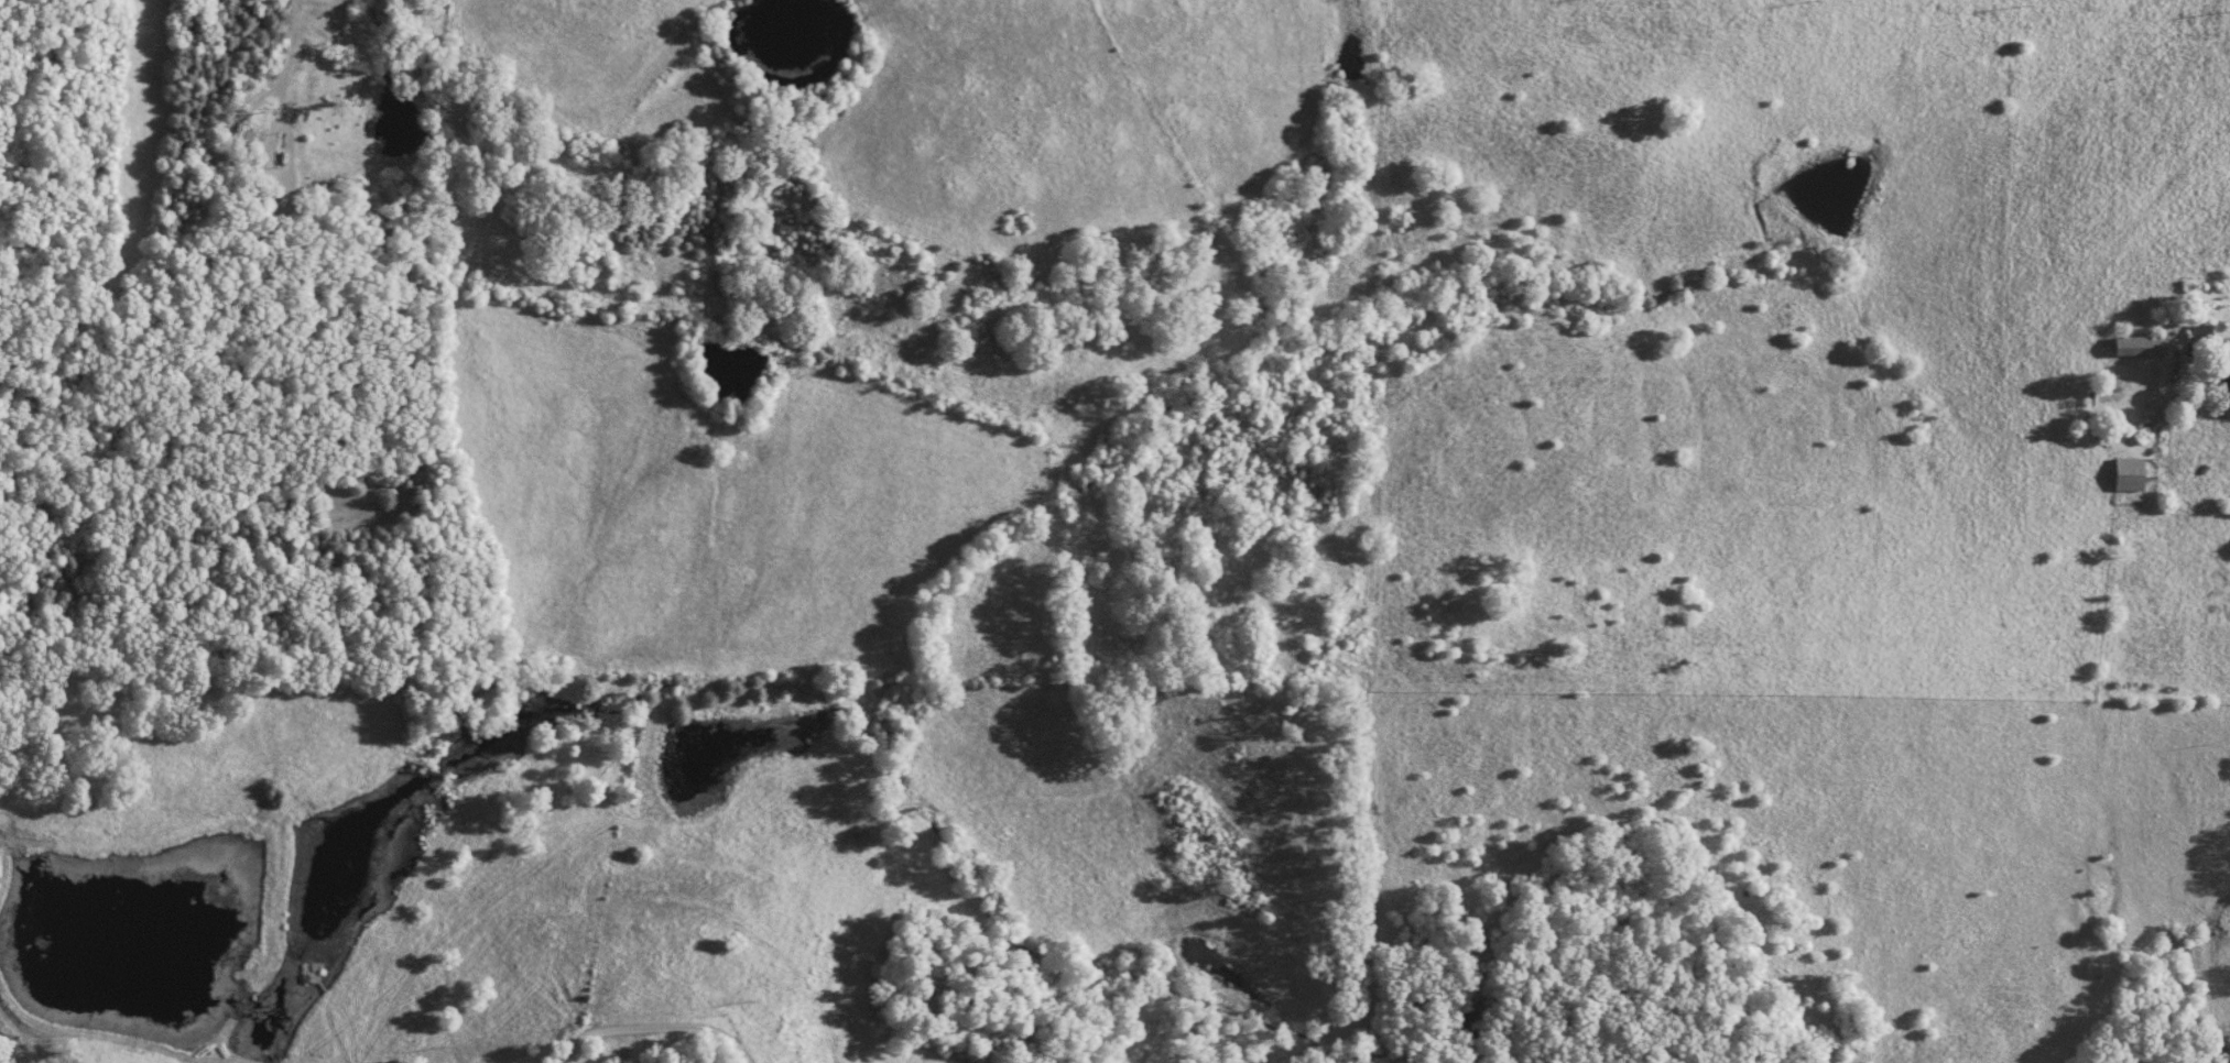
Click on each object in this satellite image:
building: (2201, 335)
building: (2142, 346)
building: (2223, 376)
building: (2130, 474)
road: (655, 1031)

